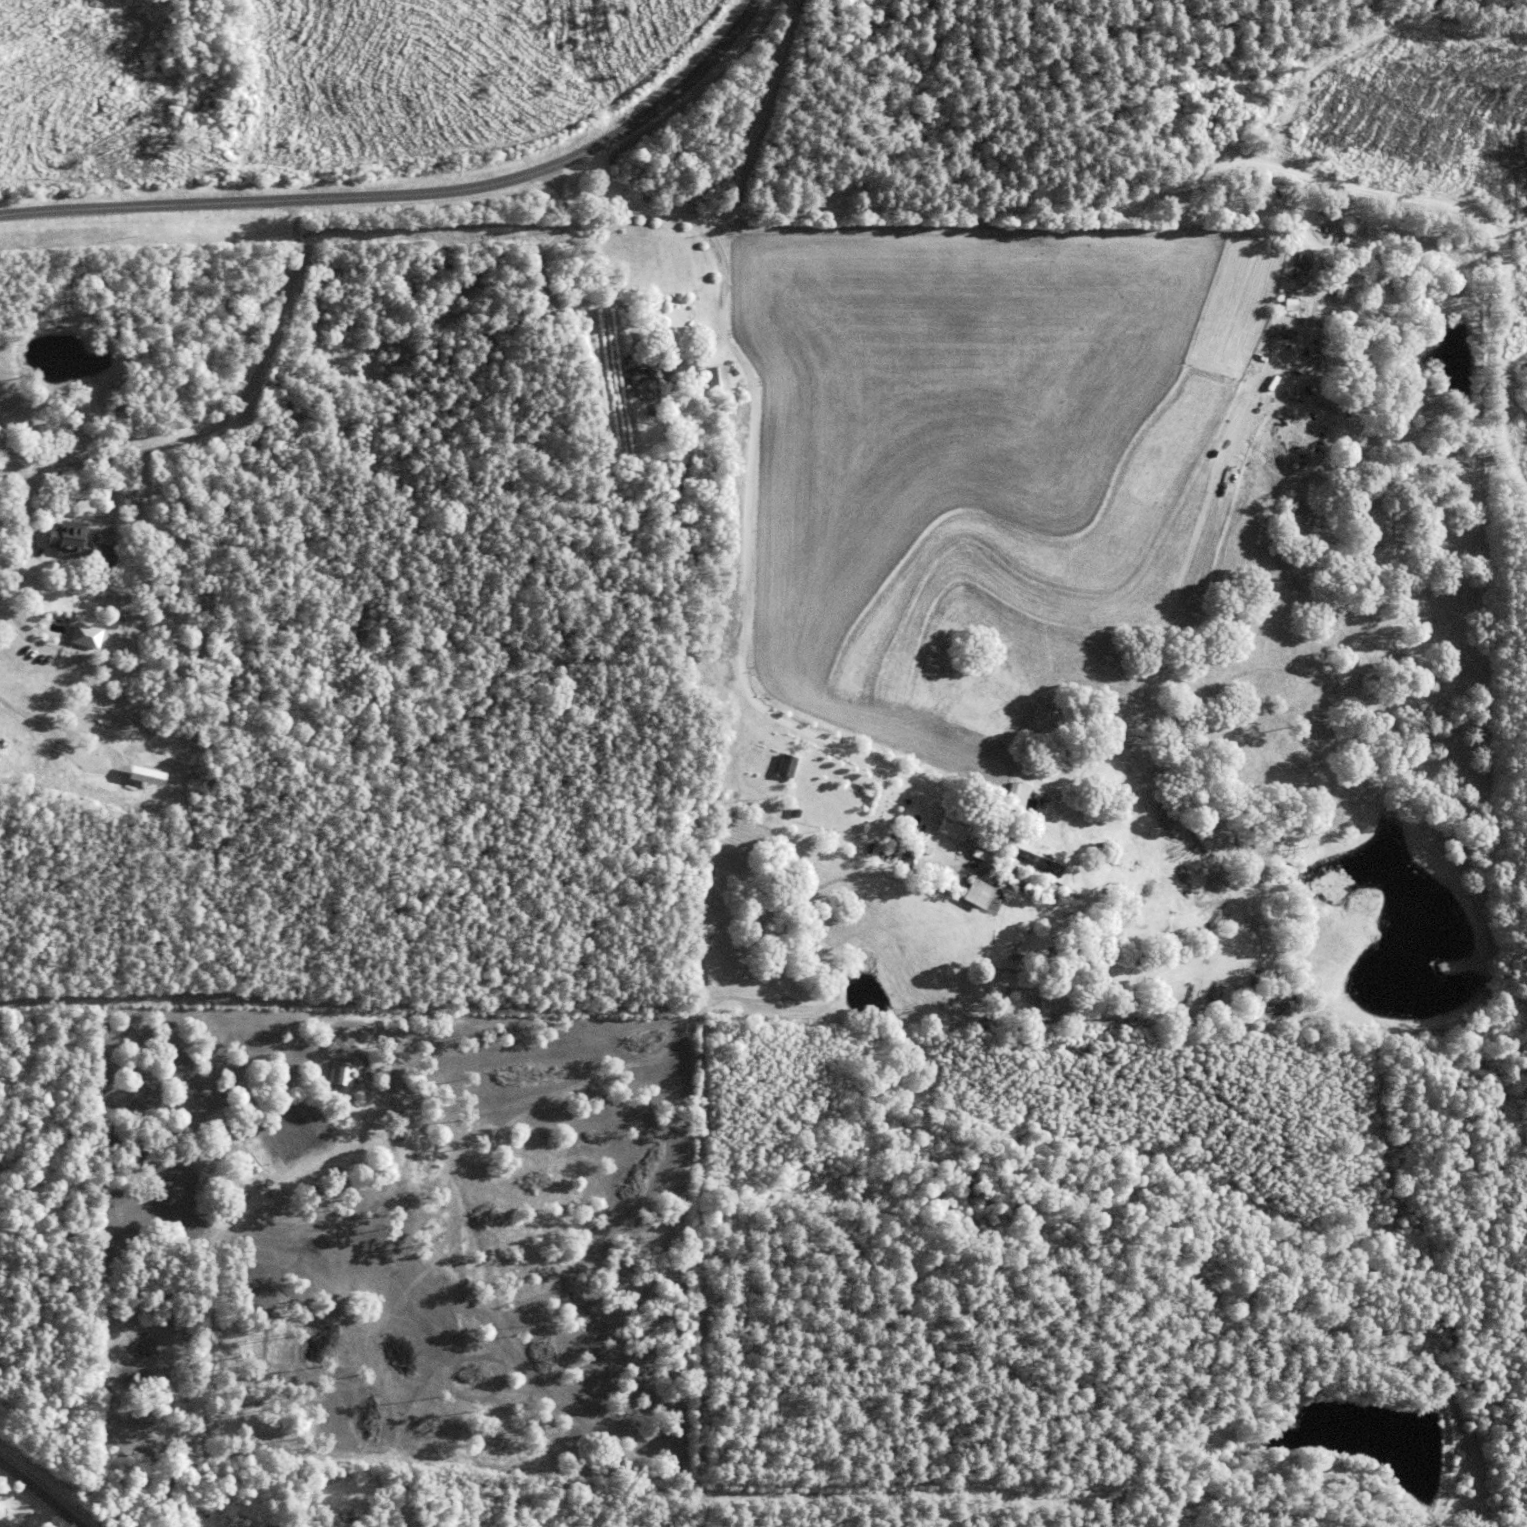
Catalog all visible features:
road: (1216, 166)
road: (414, 198)
building: (1337, 241)
building: (1302, 263)
building: (1394, 270)
building: (1344, 276)
building: (1288, 304)
building: (679, 371)
building: (637, 375)
building: (715, 379)
building: (635, 392)
building: (734, 413)
road: (751, 496)
building: (80, 545)
building: (81, 635)
building: (785, 766)
building: (140, 775)
building: (1014, 794)
building: (953, 807)
building: (794, 813)
building: (953, 827)
building: (925, 849)
building: (974, 858)
building: (905, 863)
building: (1030, 883)
building: (941, 884)
building: (977, 893)
building: (1105, 993)
building: (1046, 1007)
building: (338, 1073)
road: (39, 1495)
building: (240, 1506)
building: (245, 1517)
building: (350, 1521)

